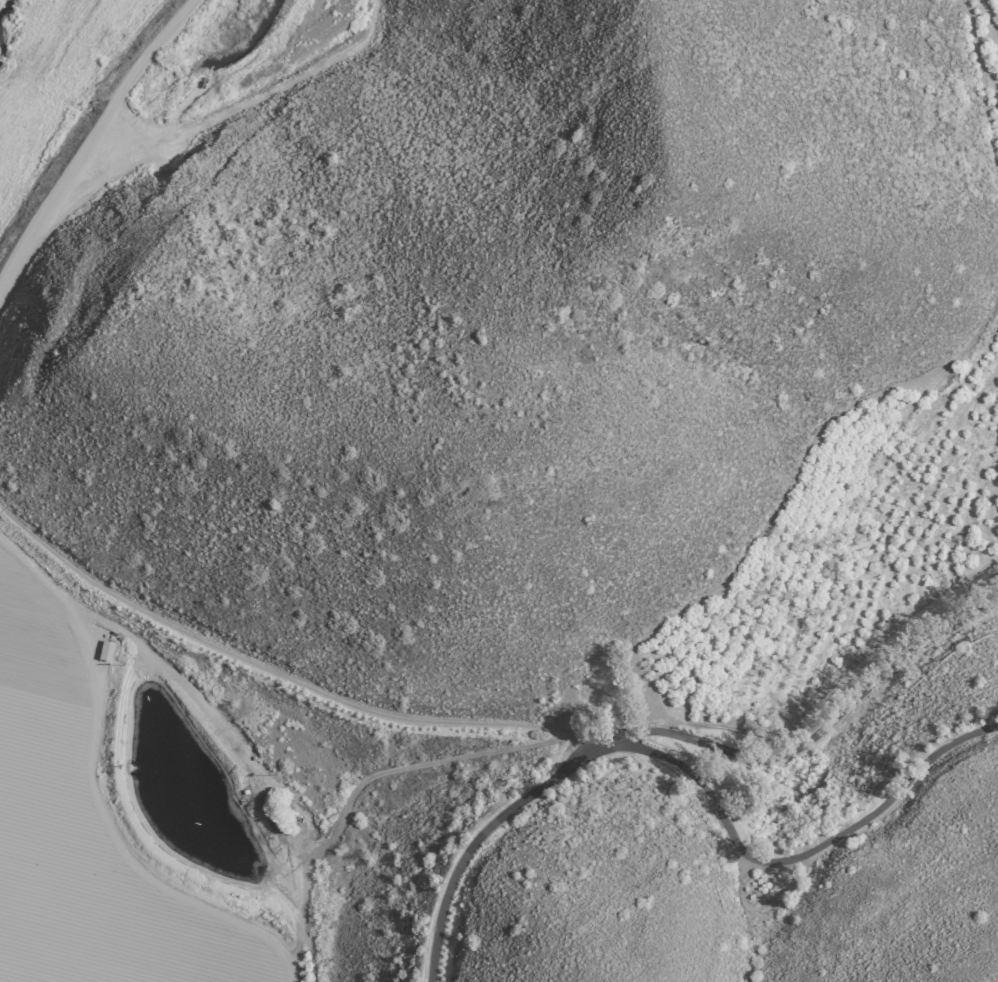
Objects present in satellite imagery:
crop: (995, 59)
road: (87, 124)
crop: (814, 575)
building: (105, 651)
road: (89, 660)
road: (503, 731)
road: (264, 807)
crop: (128, 829)
road: (826, 837)
road: (482, 838)

